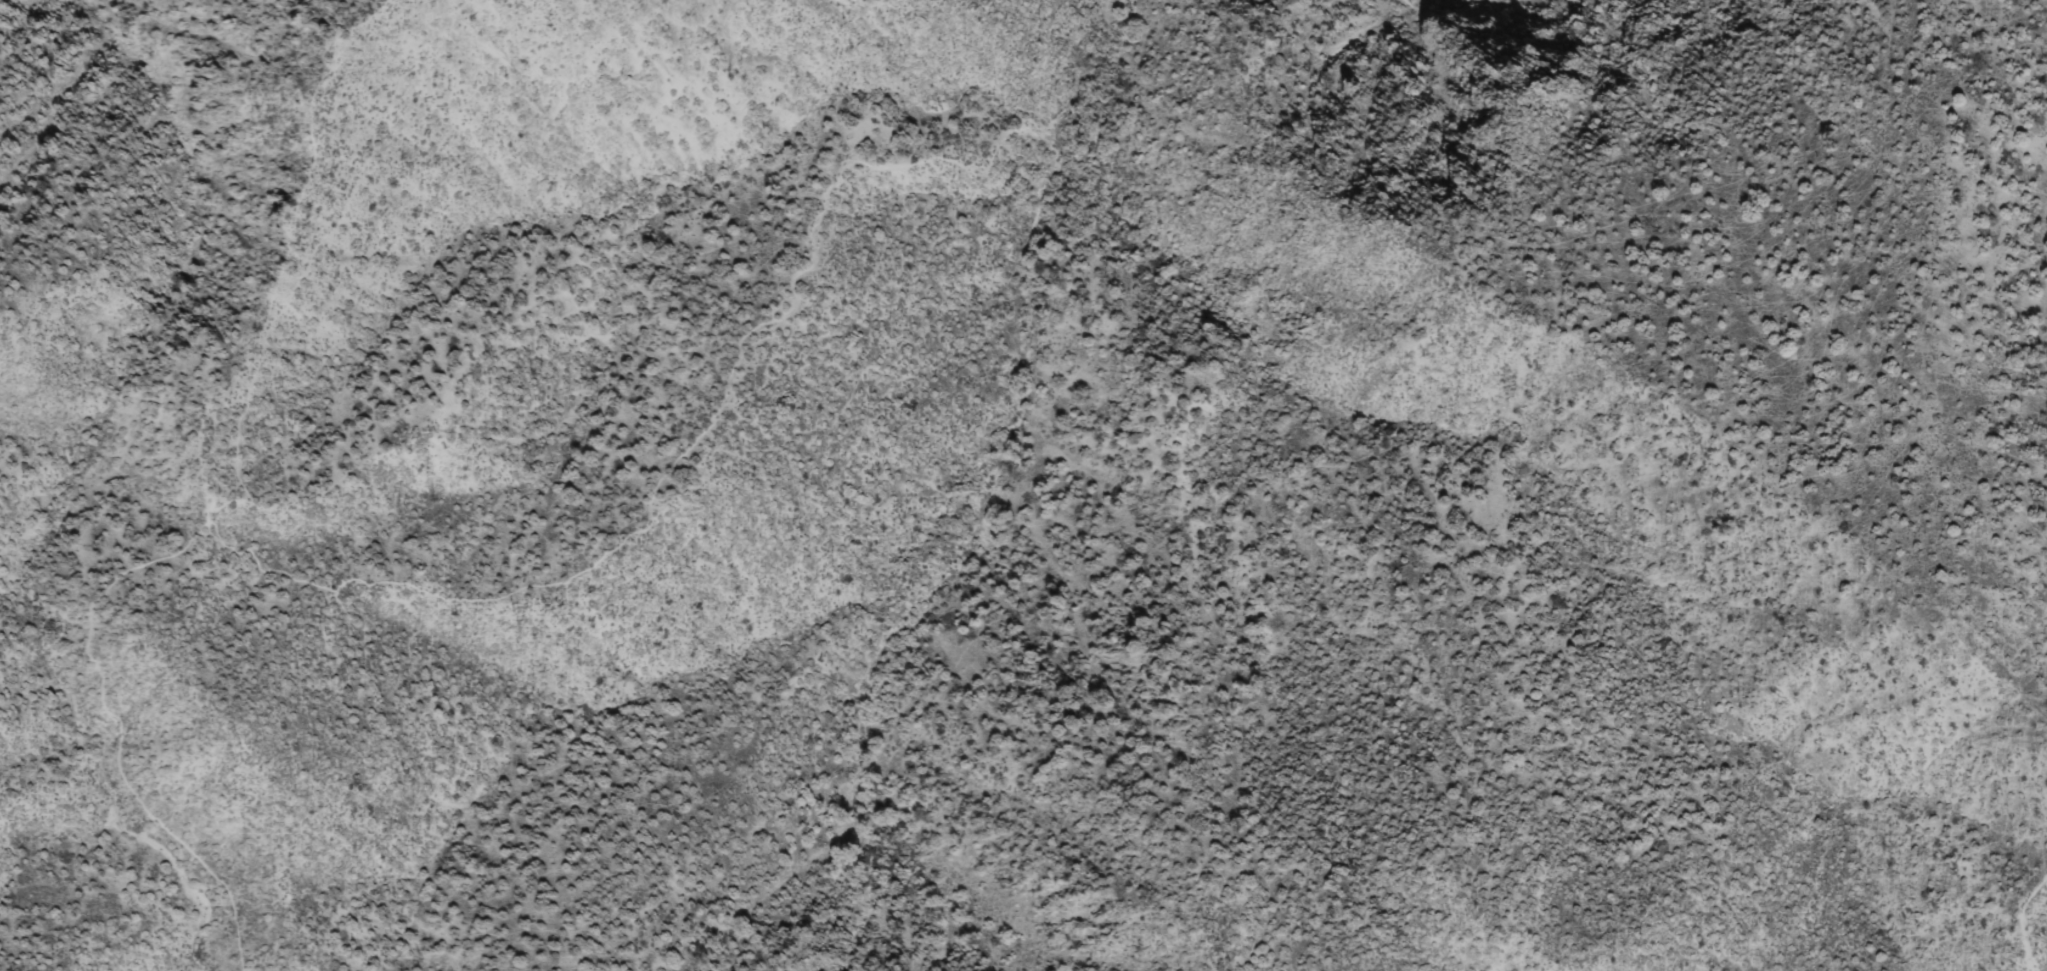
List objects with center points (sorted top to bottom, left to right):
road: (1443, 6)
road: (1483, 19)
road: (558, 536)

